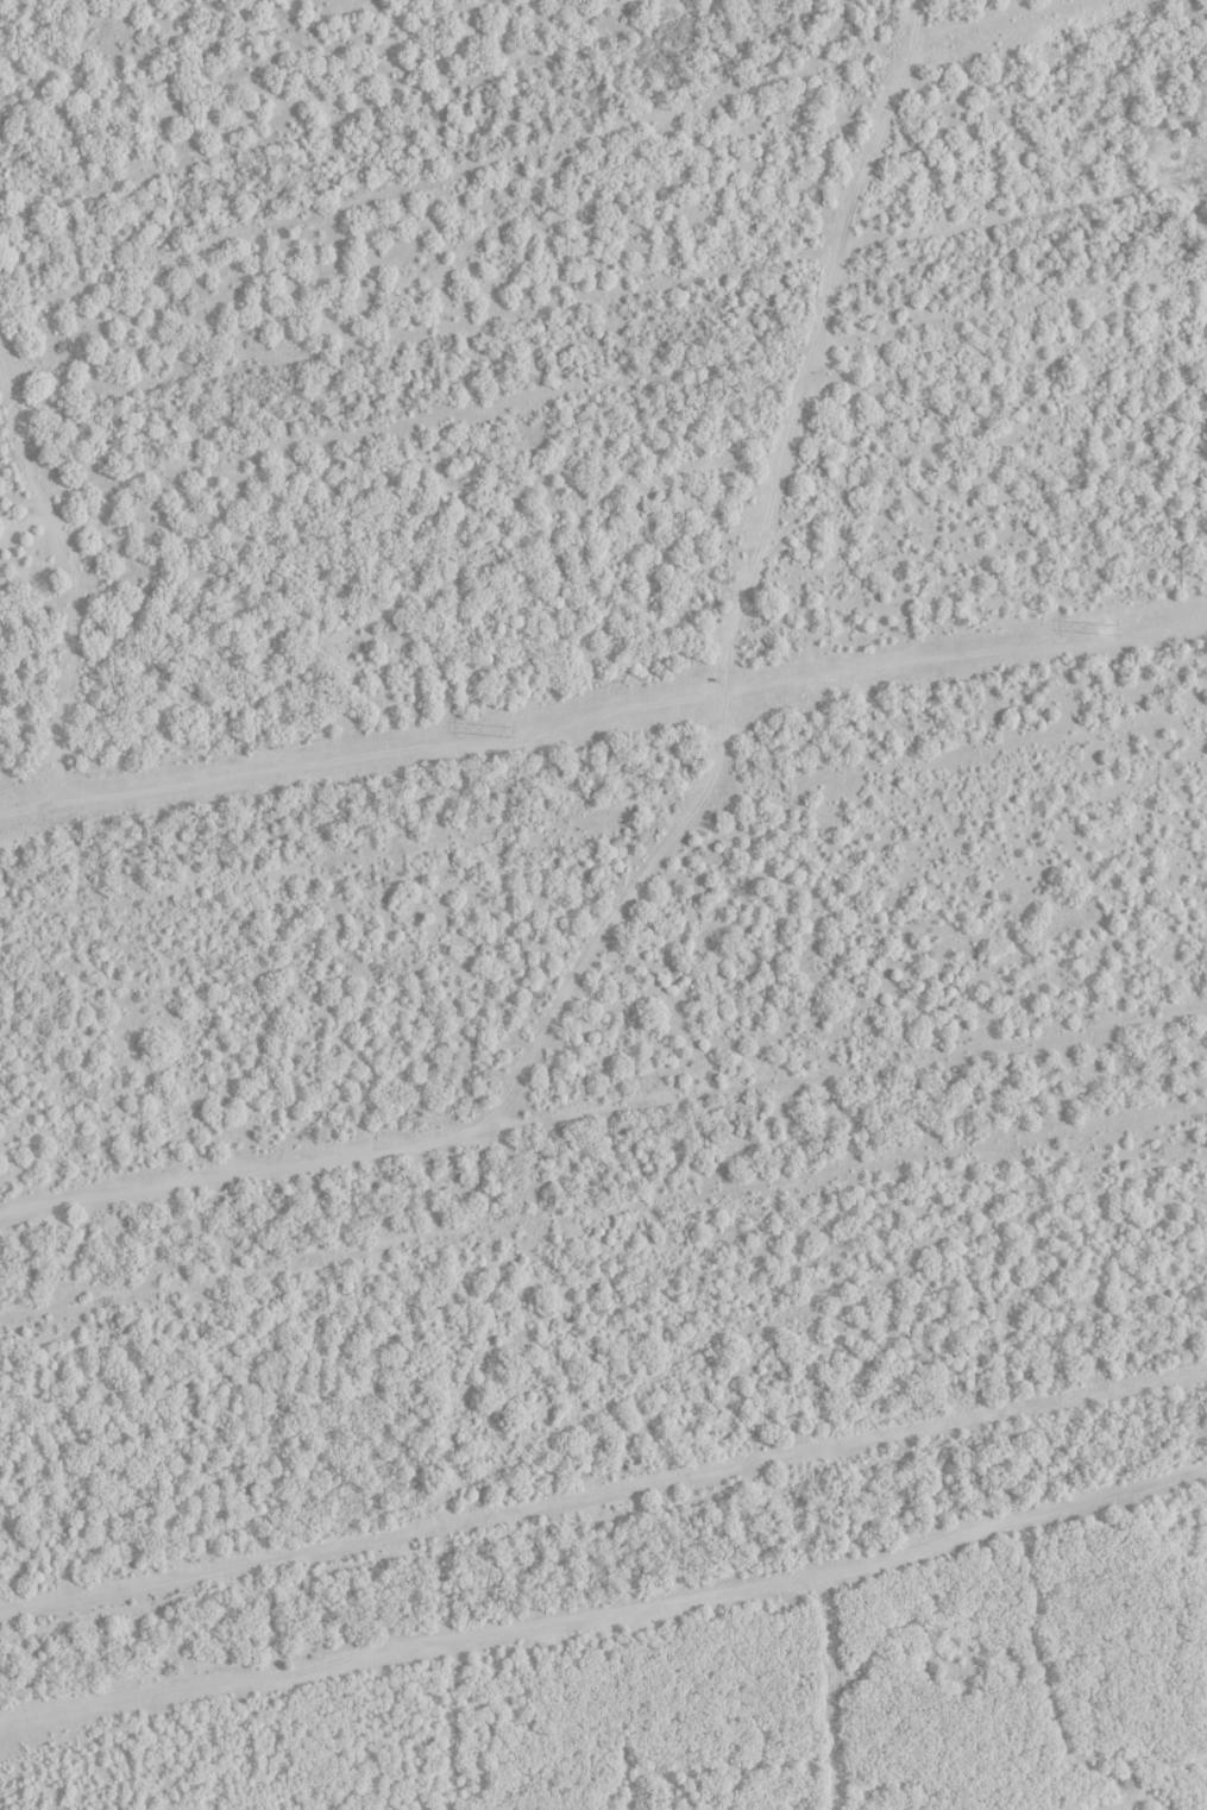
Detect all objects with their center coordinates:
power tower: (1105, 630)
power tower: (507, 733)

